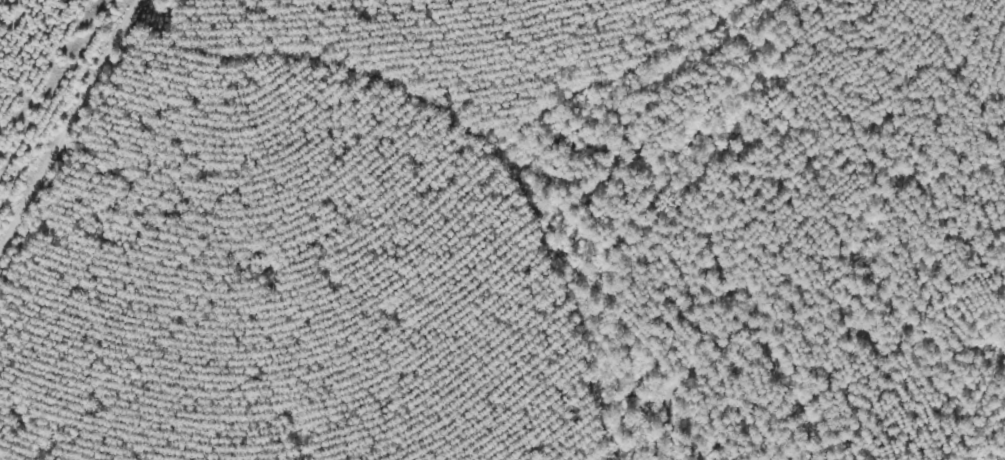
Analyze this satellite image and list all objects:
road: (66, 135)

